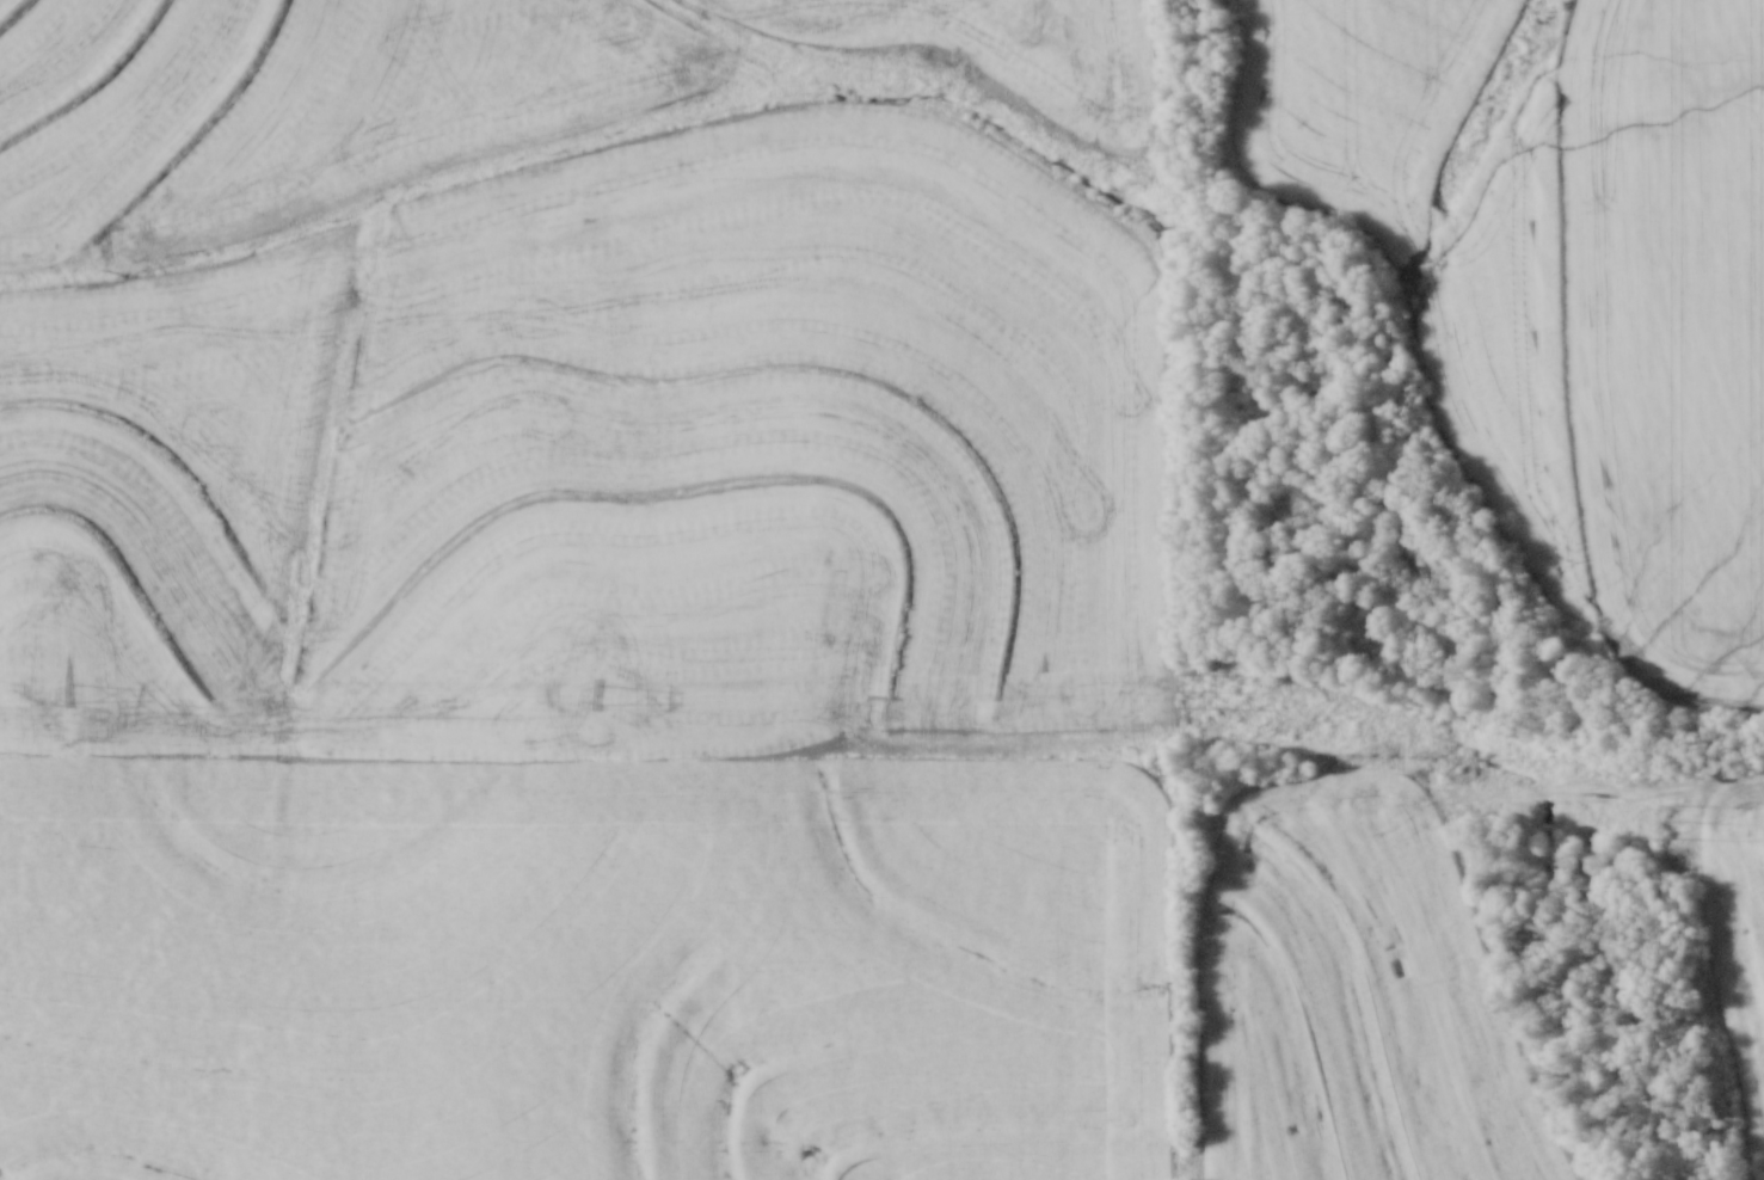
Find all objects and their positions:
power tower: (601, 692)
power tower: (1190, 692)
power tower: (72, 693)
power tower: (1676, 811)

